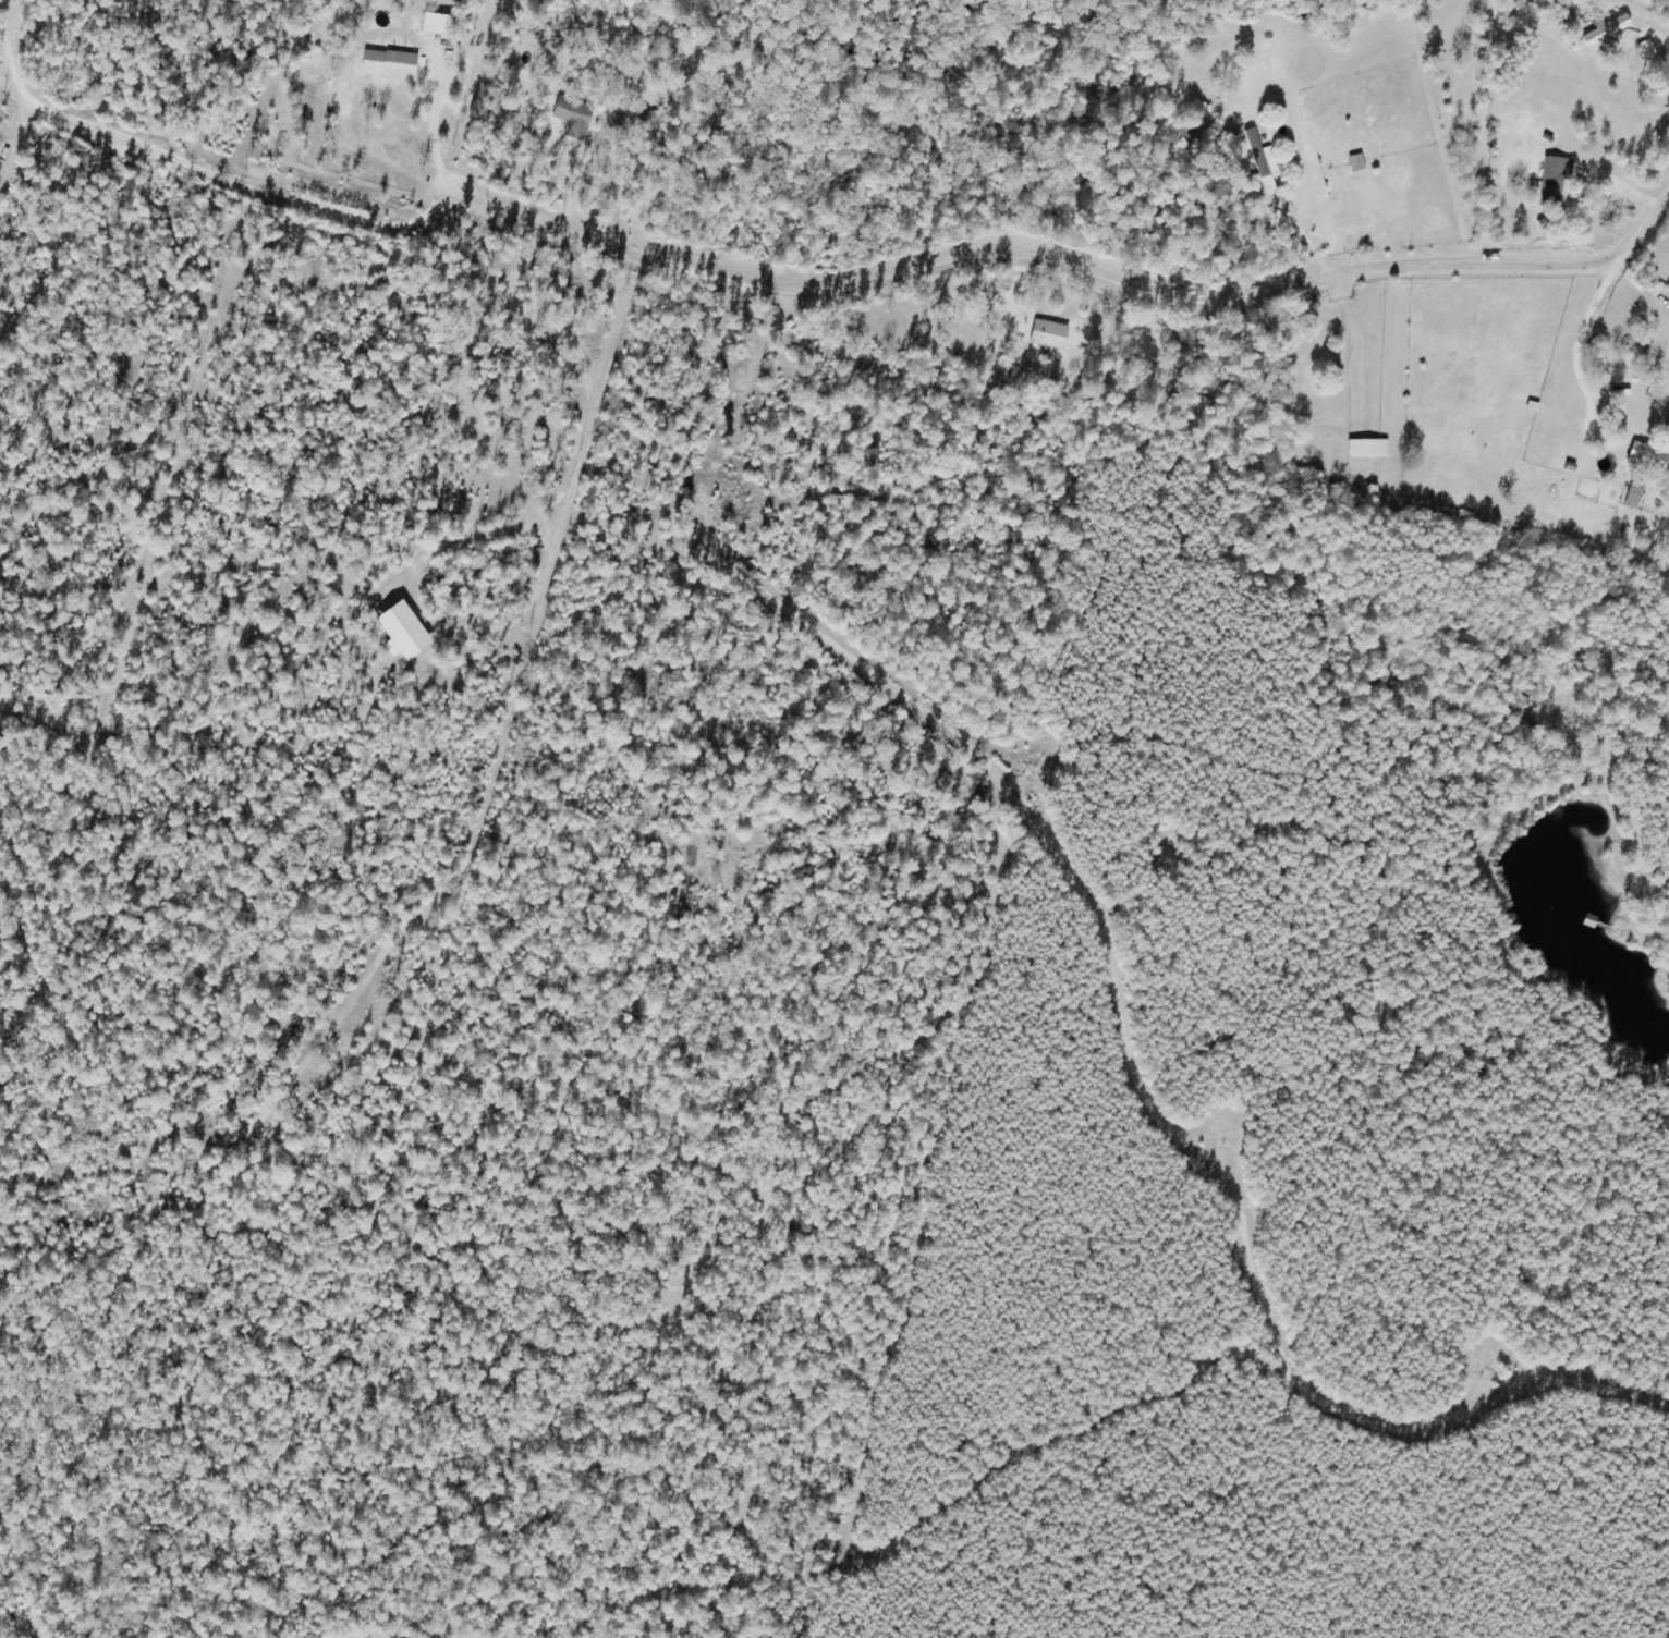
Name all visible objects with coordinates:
building: (422, 10)
building: (1595, 34)
building: (386, 62)
building: (571, 115)
building: (639, 120)
building: (1260, 166)
road: (207, 171)
building: (1552, 179)
road: (1077, 276)
building: (1047, 333)
road: (1593, 344)
building: (1365, 448)
building: (1637, 457)
building: (1632, 493)

